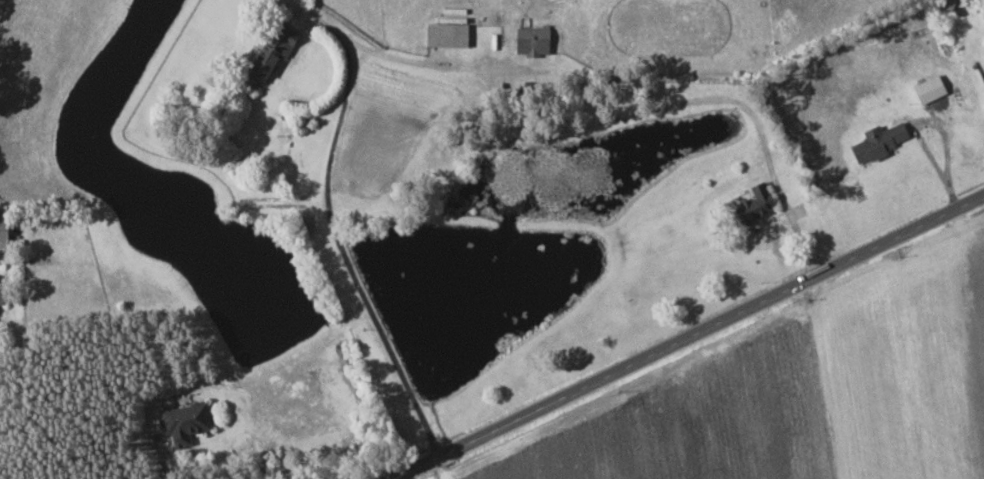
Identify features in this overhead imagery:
building: (535, 40)
building: (276, 52)
building: (933, 88)
road: (589, 122)
building: (884, 140)
building: (761, 200)
building: (6, 229)
road: (342, 251)
building: (3, 295)
road: (686, 341)
building: (187, 422)
road: (159, 459)

